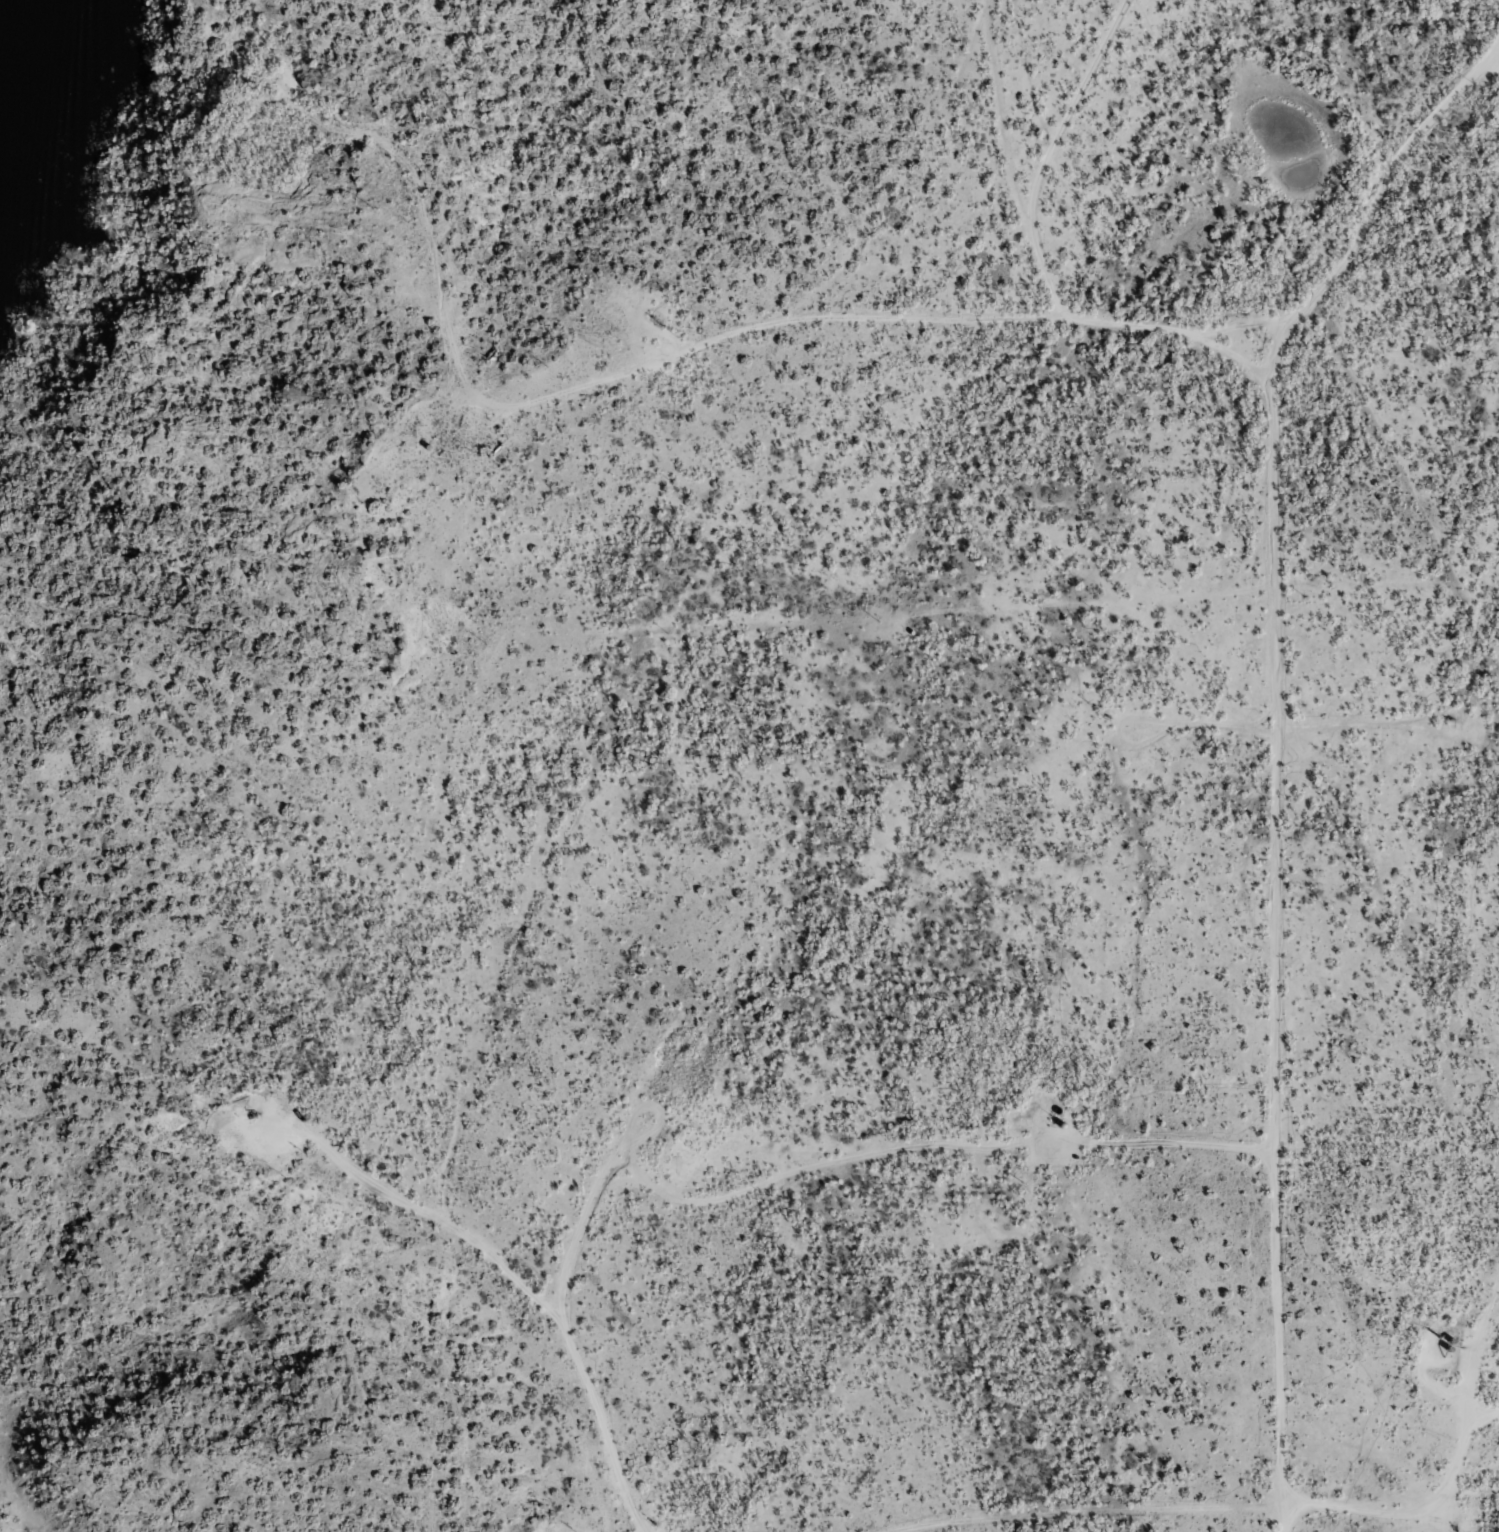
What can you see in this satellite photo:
road: (1489, 132)
road: (1019, 177)
road: (890, 181)
road: (681, 336)
road: (684, 547)
road: (1263, 787)
road: (1075, 1020)
road: (1064, 1154)
road: (993, 1181)
road: (1478, 1408)
road: (1459, 1419)
road: (1478, 1423)

